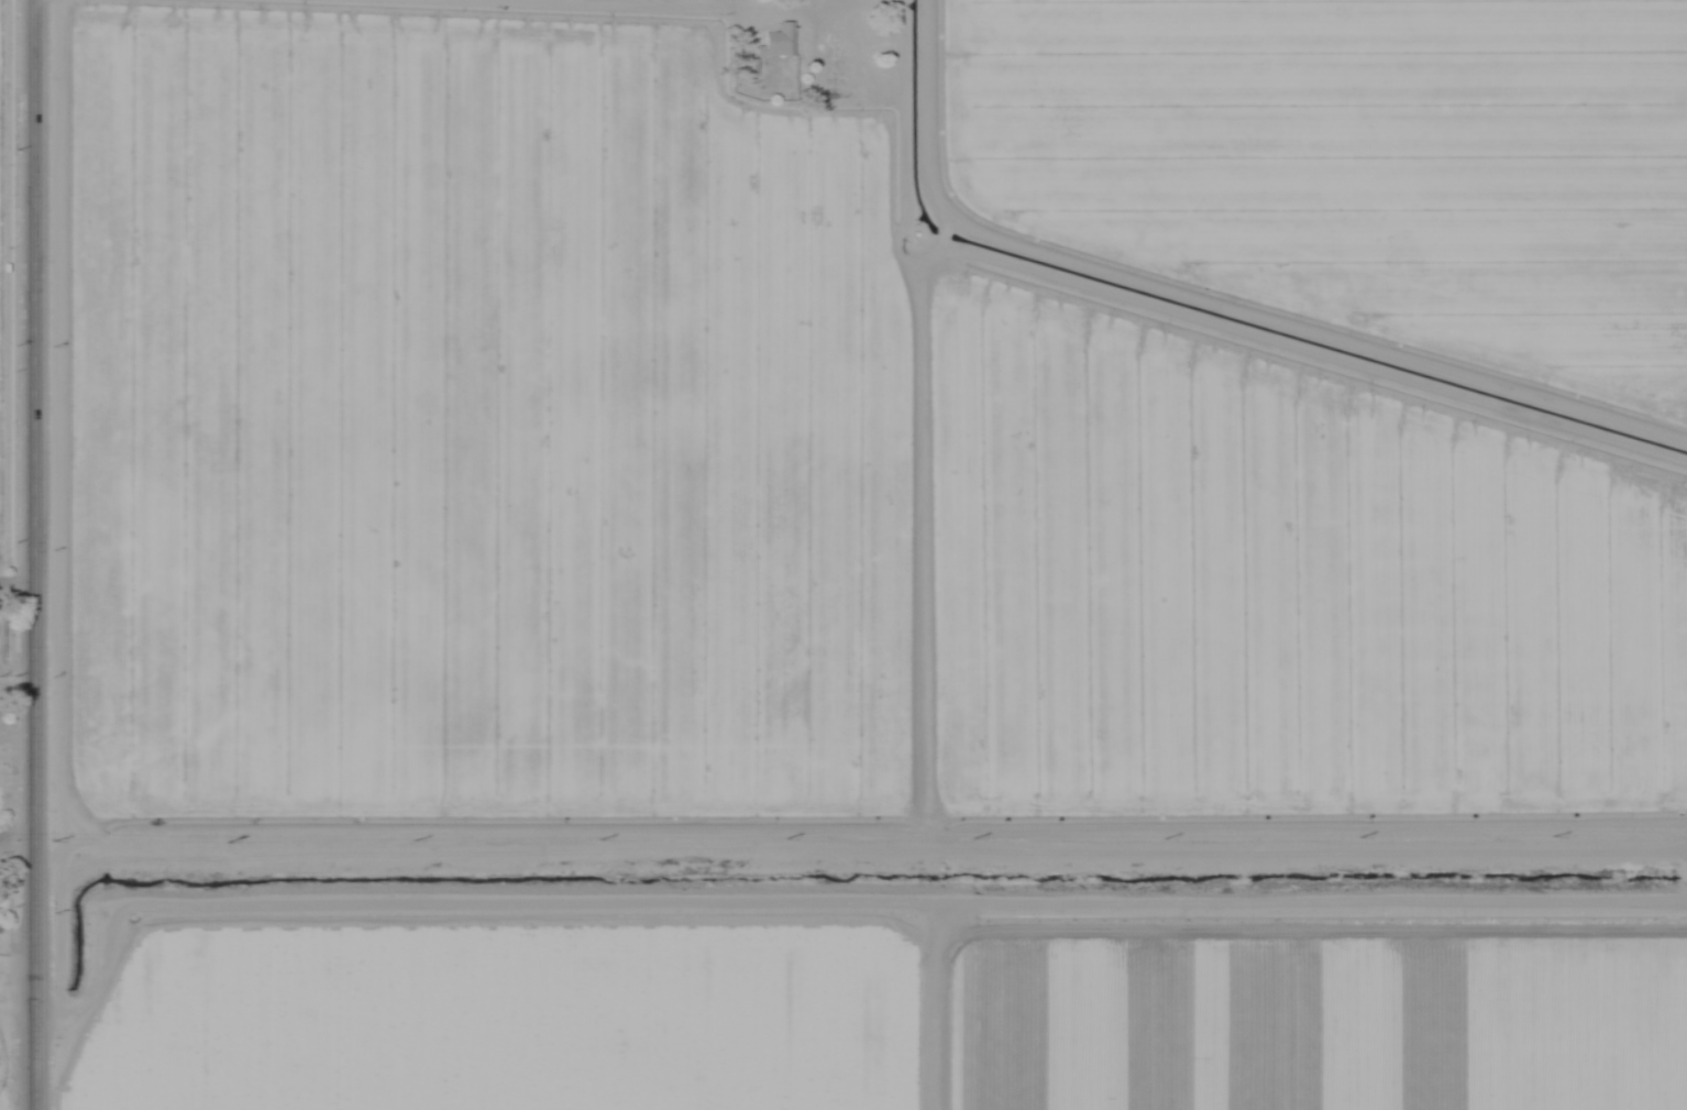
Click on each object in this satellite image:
building: (773, 42)
road: (36, 554)

